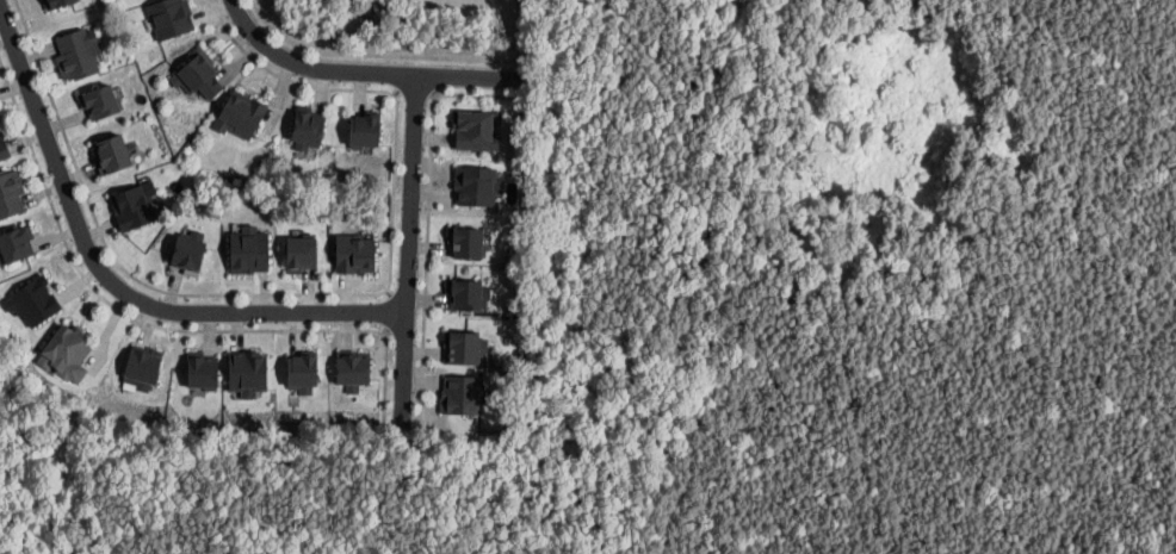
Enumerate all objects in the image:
building: (58, 2)
building: (169, 17)
building: (78, 51)
building: (197, 74)
road: (349, 74)
building: (99, 100)
building: (240, 113)
building: (308, 127)
building: (364, 127)
building: (476, 129)
building: (4, 147)
building: (111, 151)
building: (476, 183)
building: (11, 191)
building: (135, 204)
building: (466, 239)
building: (16, 242)
building: (249, 249)
building: (188, 250)
building: (301, 251)
building: (355, 253)
road: (408, 256)
road: (112, 287)
building: (32, 300)
building: (469, 346)
building: (66, 351)
building: (141, 368)
building: (202, 368)
building: (353, 368)
building: (247, 371)
building: (303, 371)
building: (460, 393)

